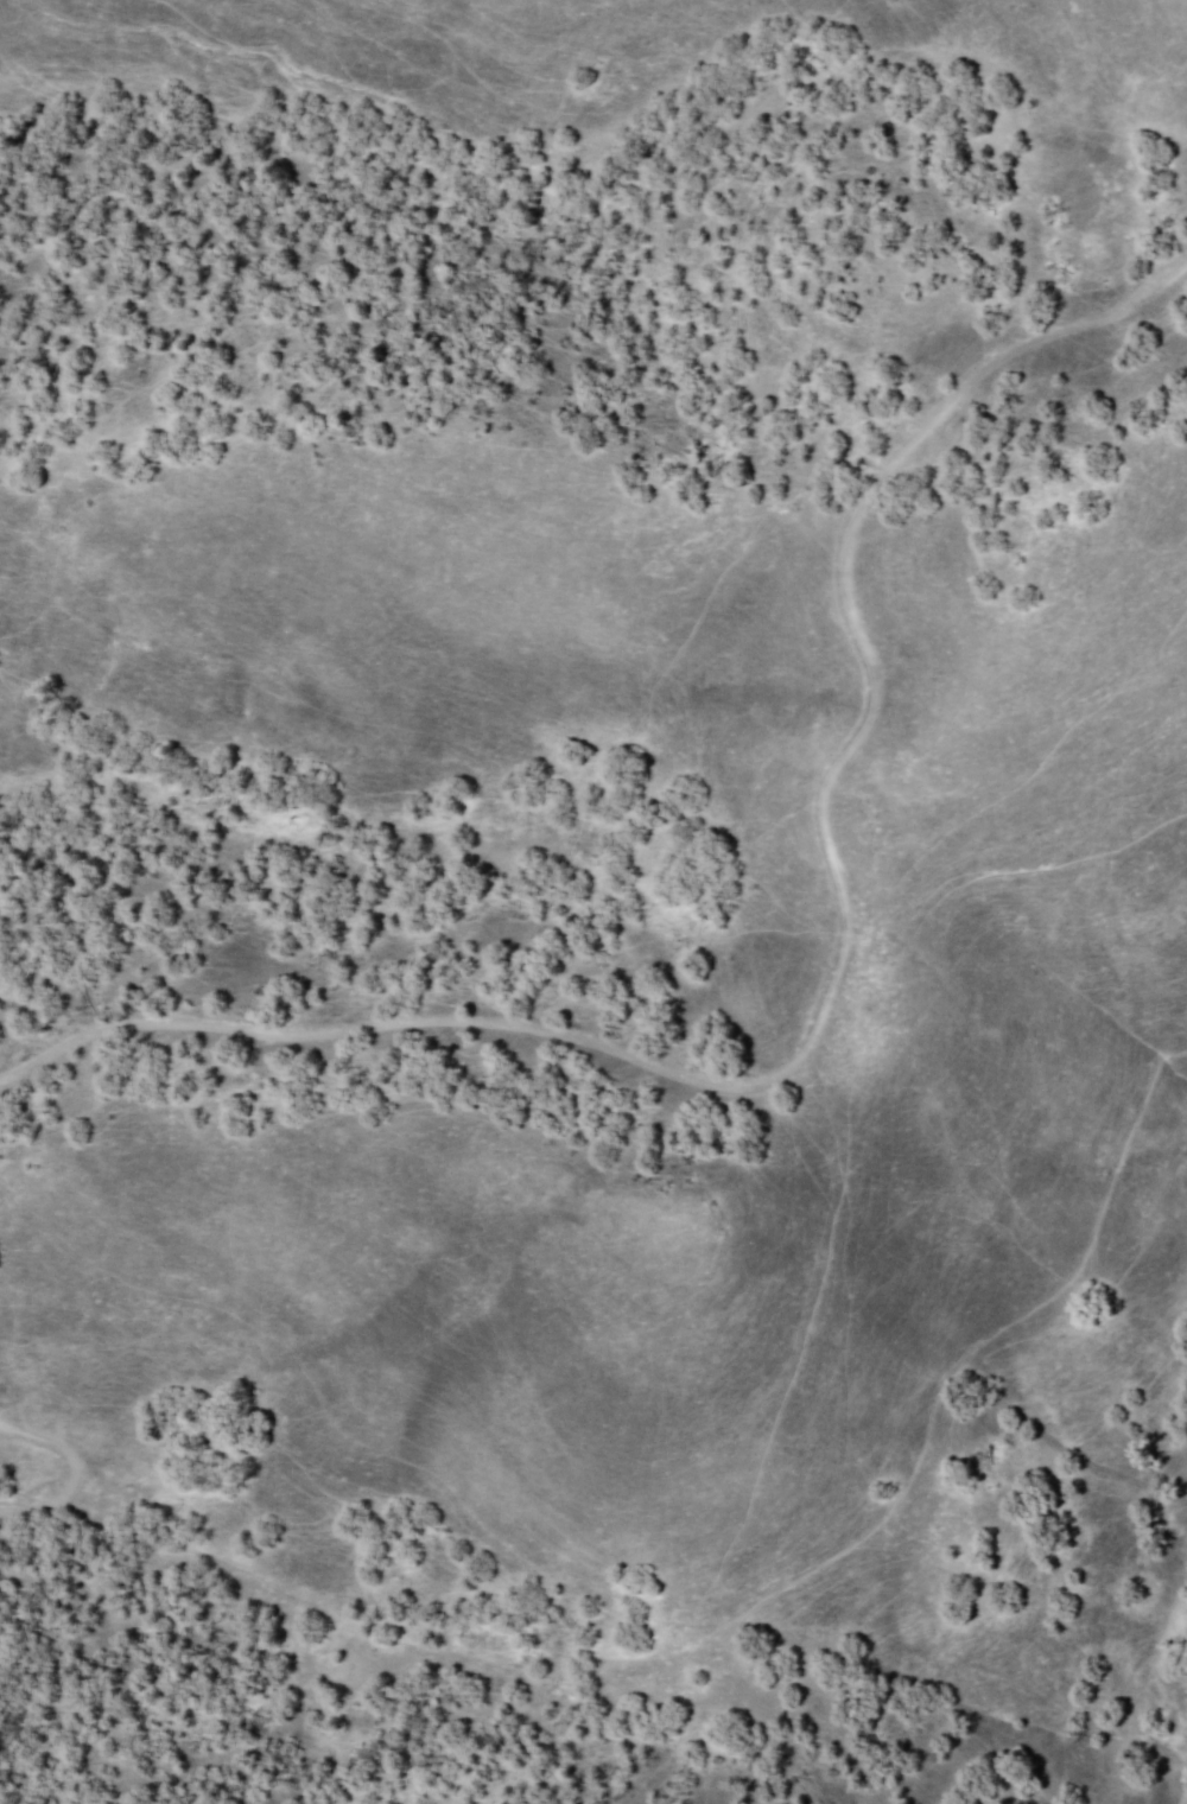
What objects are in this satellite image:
road: (878, 966)
road: (132, 1449)

